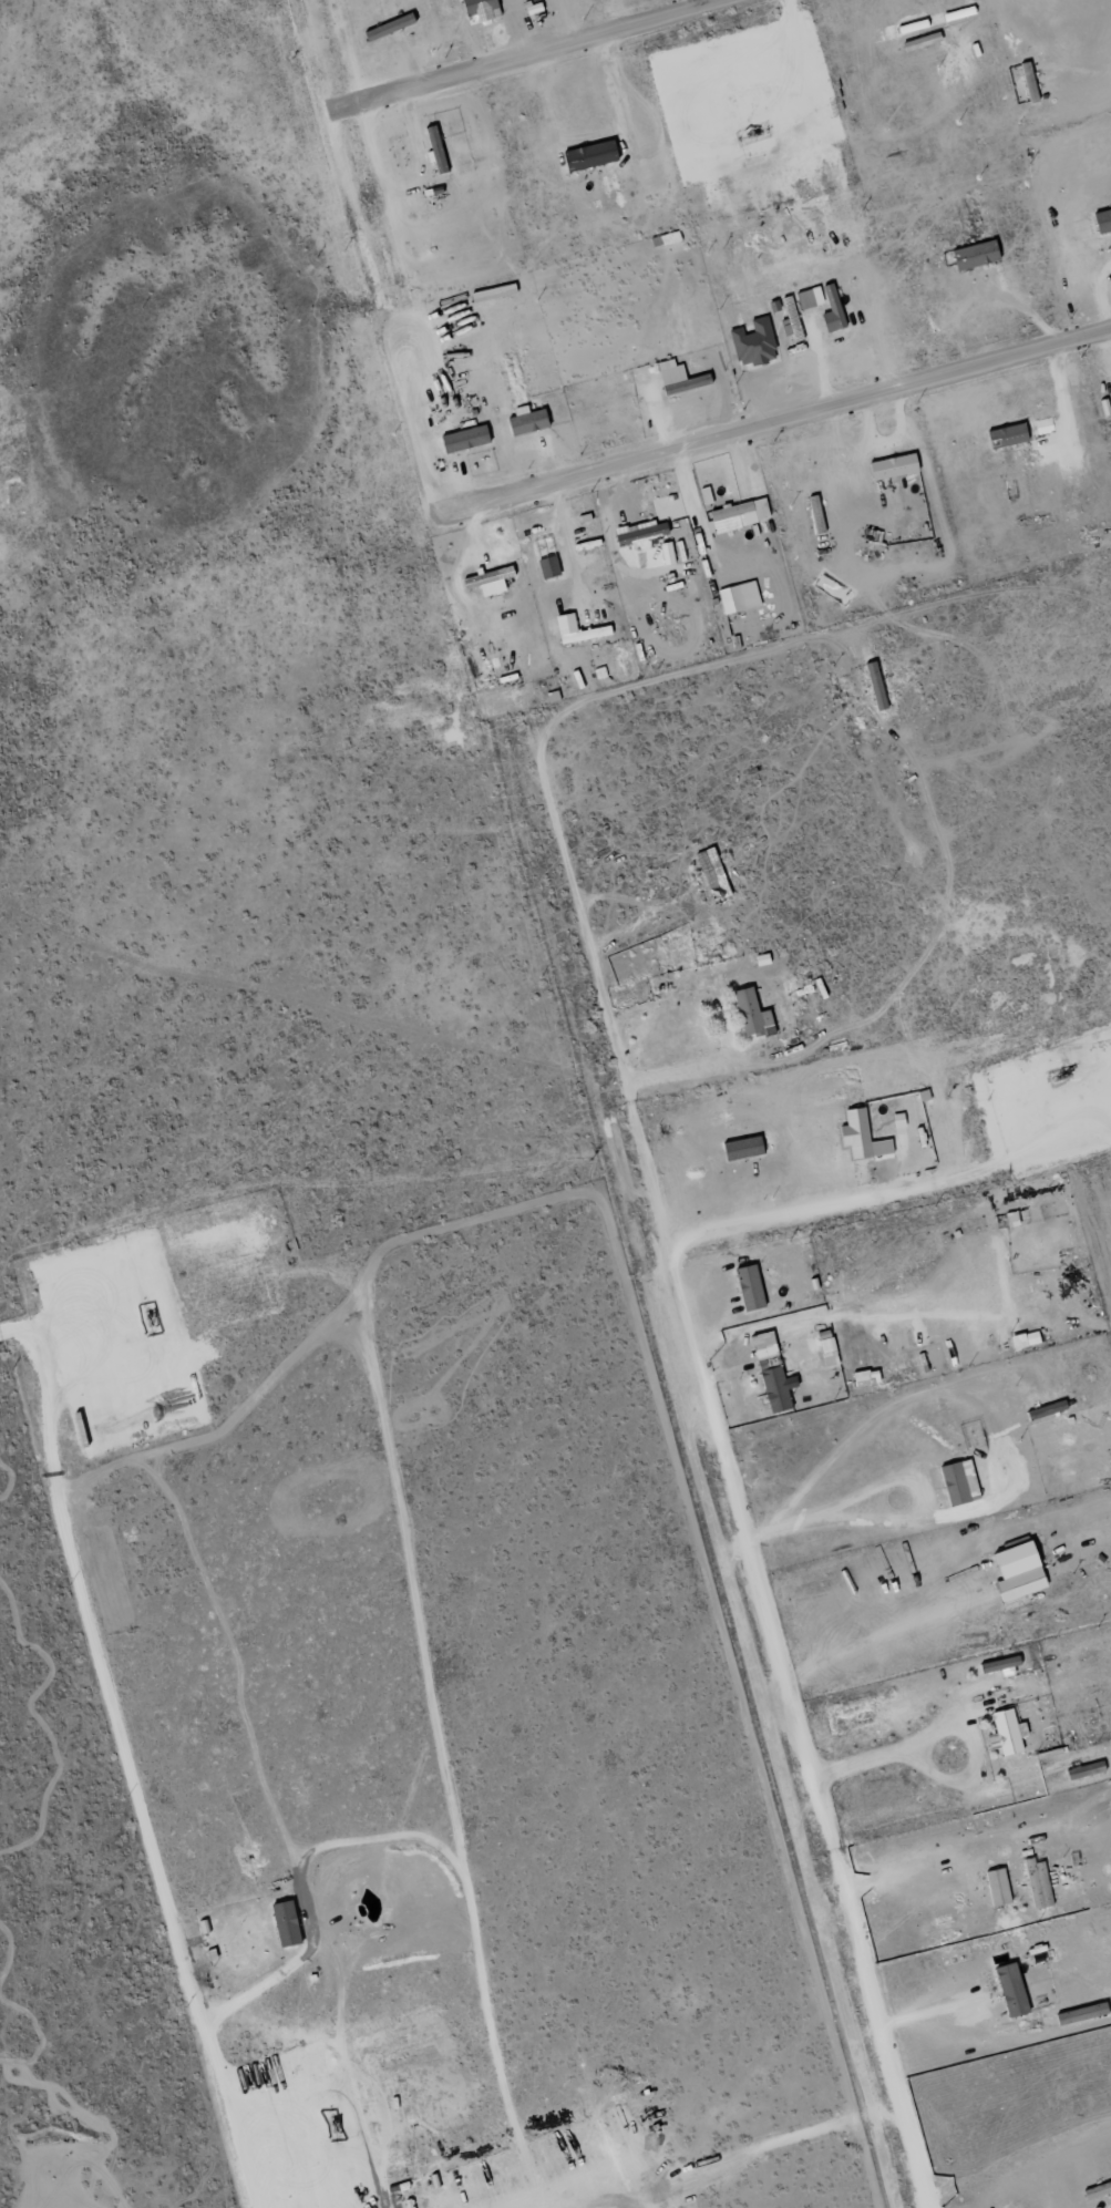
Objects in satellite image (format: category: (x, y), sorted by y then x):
building: (476, 7)
building: (387, 28)
road: (538, 49)
building: (1027, 82)
building: (433, 151)
building: (587, 156)
road: (403, 189)
building: (1101, 222)
building: (973, 256)
building: (807, 299)
building: (830, 311)
building: (751, 345)
building: (677, 379)
road: (789, 417)
building: (524, 422)
building: (1042, 427)
building: (1005, 437)
building: (462, 440)
road: (420, 455)
building: (891, 468)
building: (737, 516)
building: (638, 535)
building: (665, 554)
building: (546, 568)
building: (486, 583)
building: (729, 600)
building: (564, 629)
building: (874, 687)
building: (748, 1014)
road: (546, 1047)
building: (896, 1121)
building: (858, 1137)
building: (740, 1149)
building: (1009, 1220)
building: (747, 1288)
building: (1022, 1341)
building: (825, 1353)
building: (769, 1375)
building: (863, 1378)
building: (1045, 1410)
building: (956, 1482)
building: (1015, 1572)
building: (1014, 1603)
building: (997, 1665)
road: (800, 1727)
building: (1004, 1734)
building: (1083, 1771)
building: (1036, 1884)
building: (995, 1888)
building: (282, 1924)
building: (1008, 1991)

